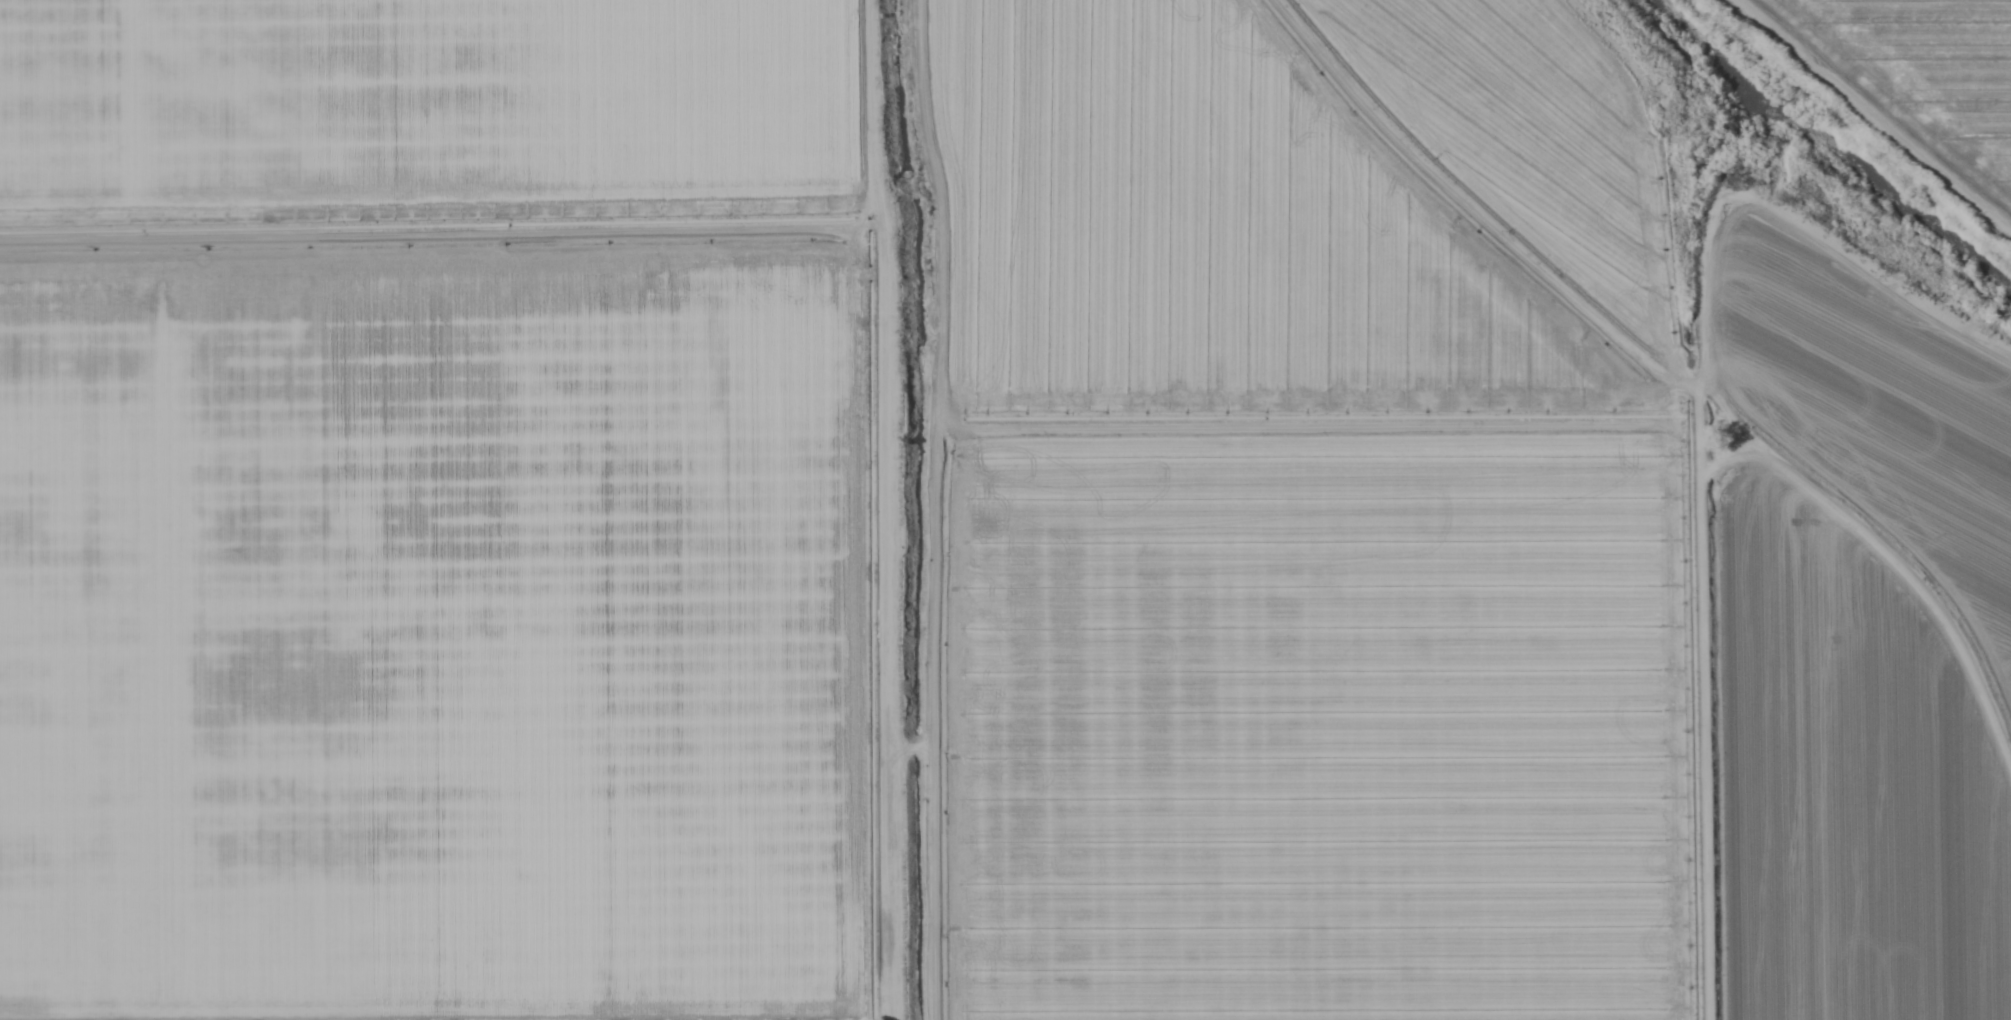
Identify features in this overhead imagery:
river: (1831, 148)
road: (442, 232)
road: (890, 509)

